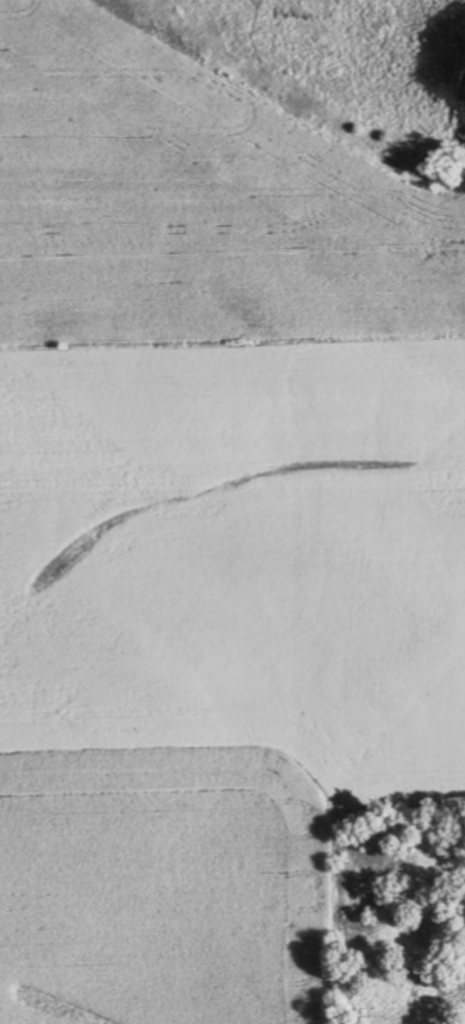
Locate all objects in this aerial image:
crop: (222, 552)

